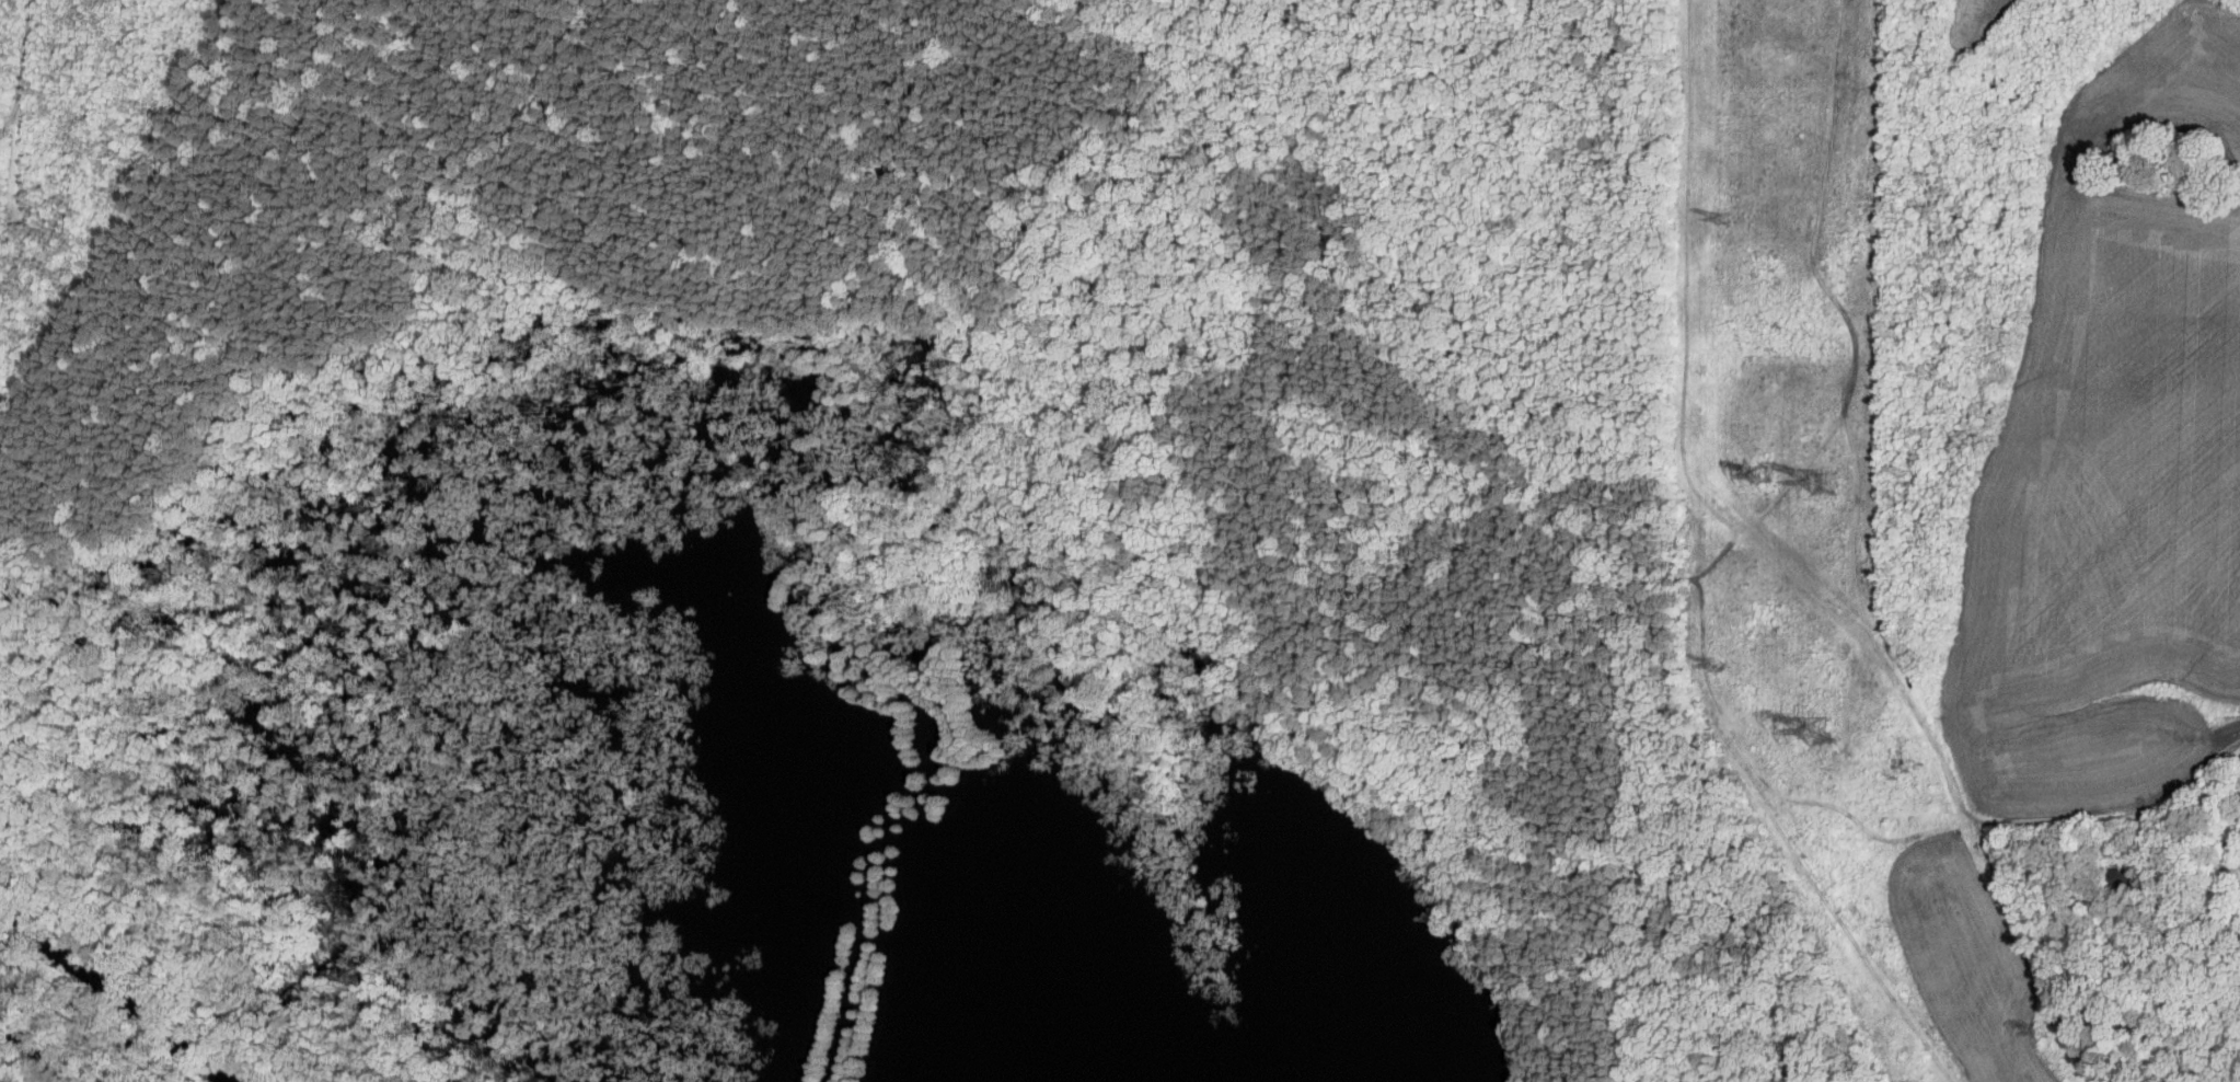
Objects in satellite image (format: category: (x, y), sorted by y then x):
power tower: (1721, 219)
power tower: (1762, 475)
power tower: (1825, 477)
power tower: (1716, 666)
power tower: (1821, 727)
power tower: (1909, 772)
power tower: (2039, 1033)

